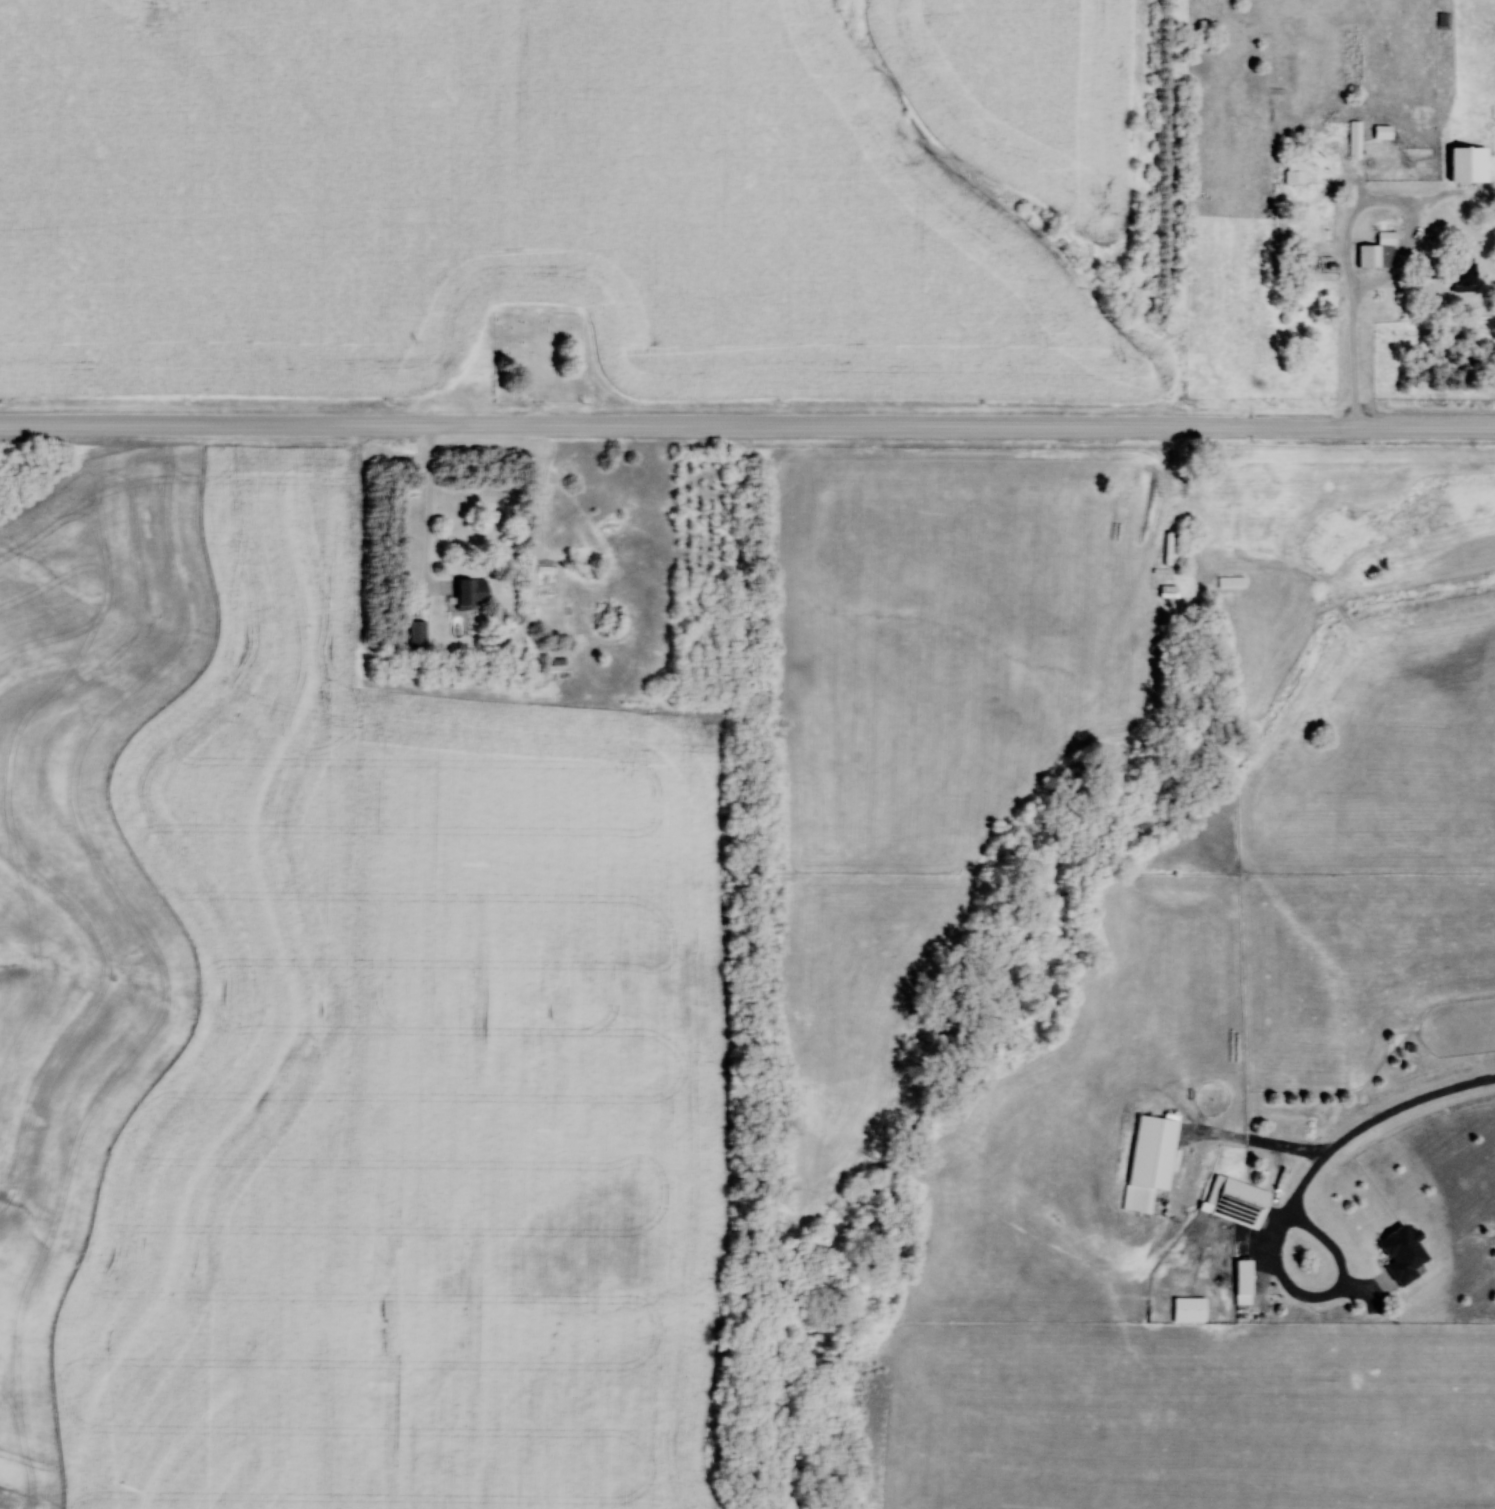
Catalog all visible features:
building: (1443, 20)
building: (1355, 139)
building: (1468, 164)
building: (1295, 172)
road: (1347, 234)
building: (1378, 251)
building: (1456, 268)
road: (747, 425)
building: (1231, 582)
building: (470, 592)
building: (417, 635)
road: (1375, 1121)
building: (1153, 1150)
building: (1236, 1200)
building: (1403, 1253)
building: (1243, 1276)
road: (1324, 1297)
building: (1189, 1308)

